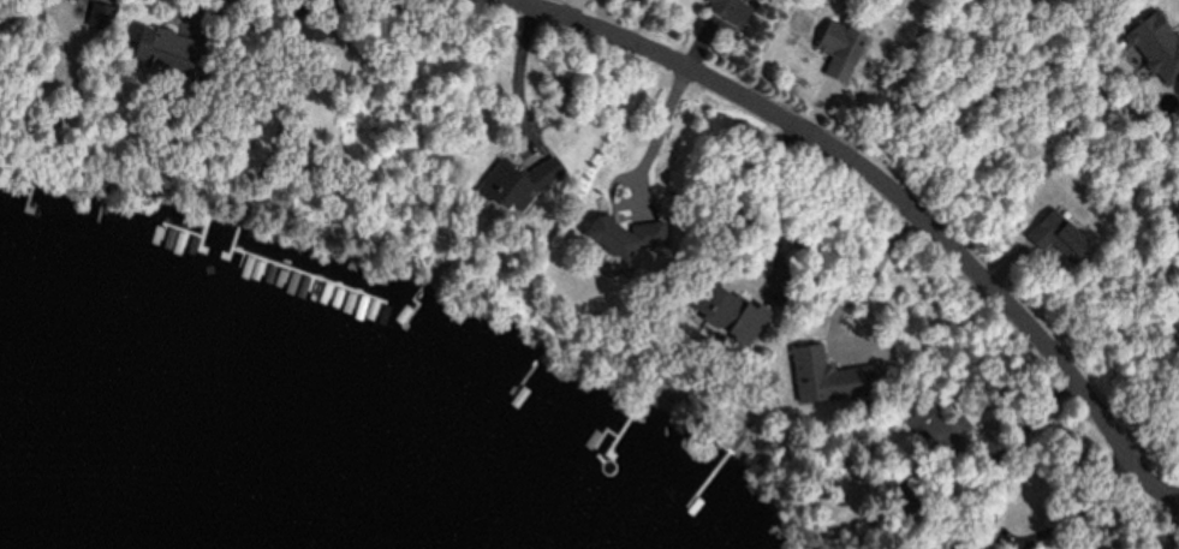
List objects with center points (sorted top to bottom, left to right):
building: (70, 0)
building: (720, 5)
building: (829, 40)
building: (1154, 47)
road: (511, 80)
road: (234, 82)
building: (524, 186)
road: (888, 186)
building: (1050, 234)
building: (625, 240)
road: (836, 304)
building: (728, 316)
building: (816, 369)
road: (1082, 514)
building: (960, 548)

